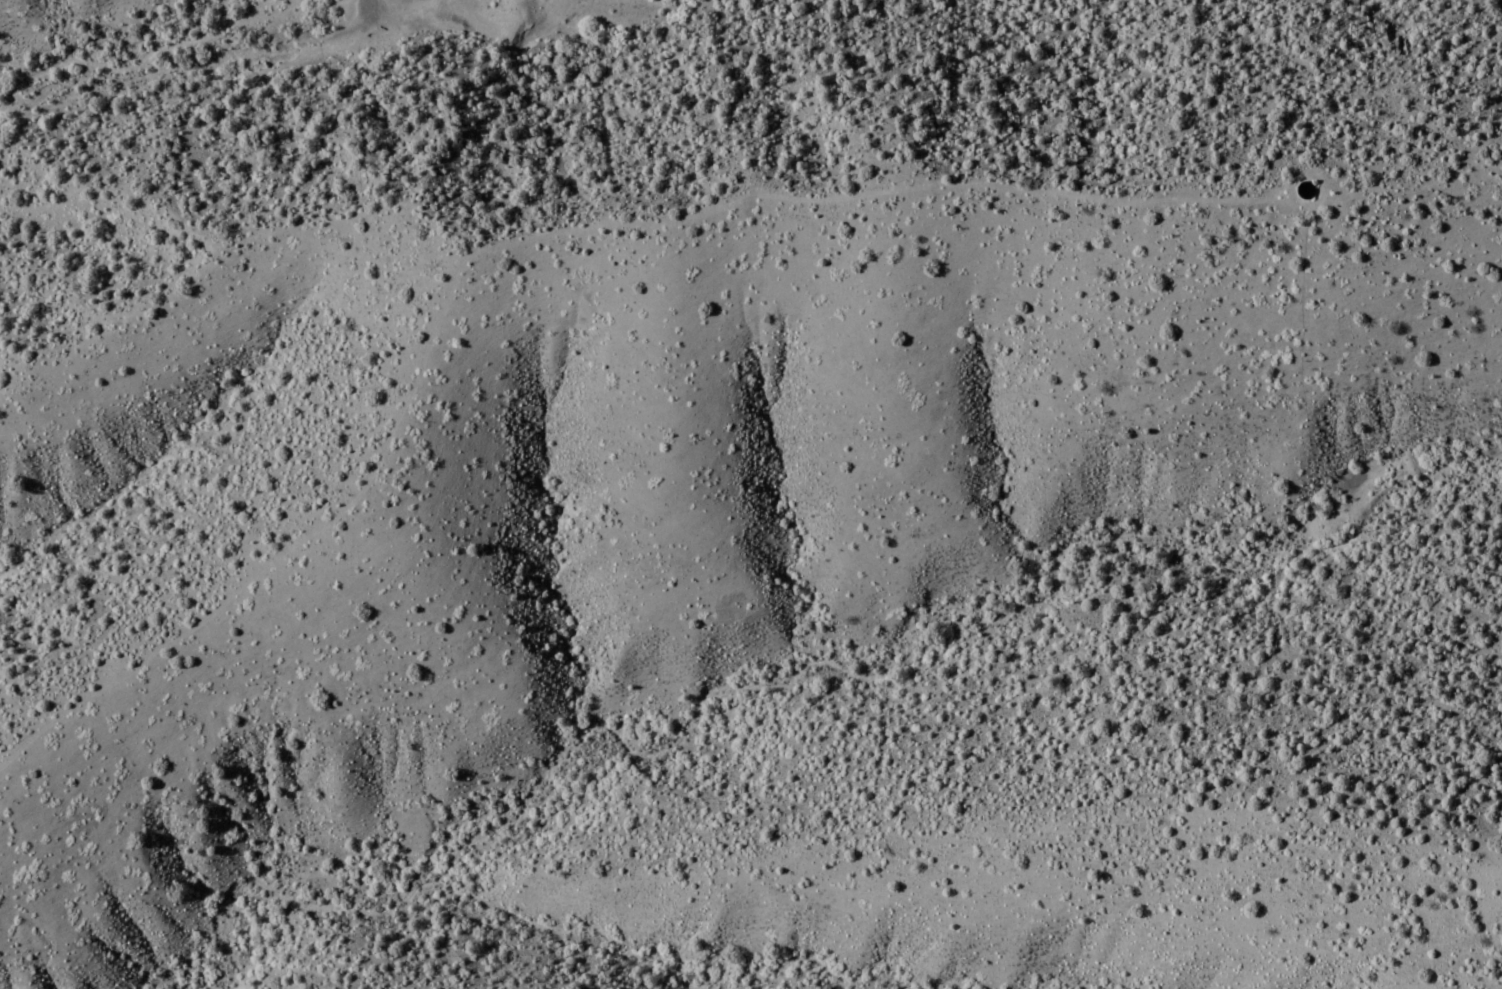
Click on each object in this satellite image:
building: (1300, 187)
storage tank: (1300, 187)

